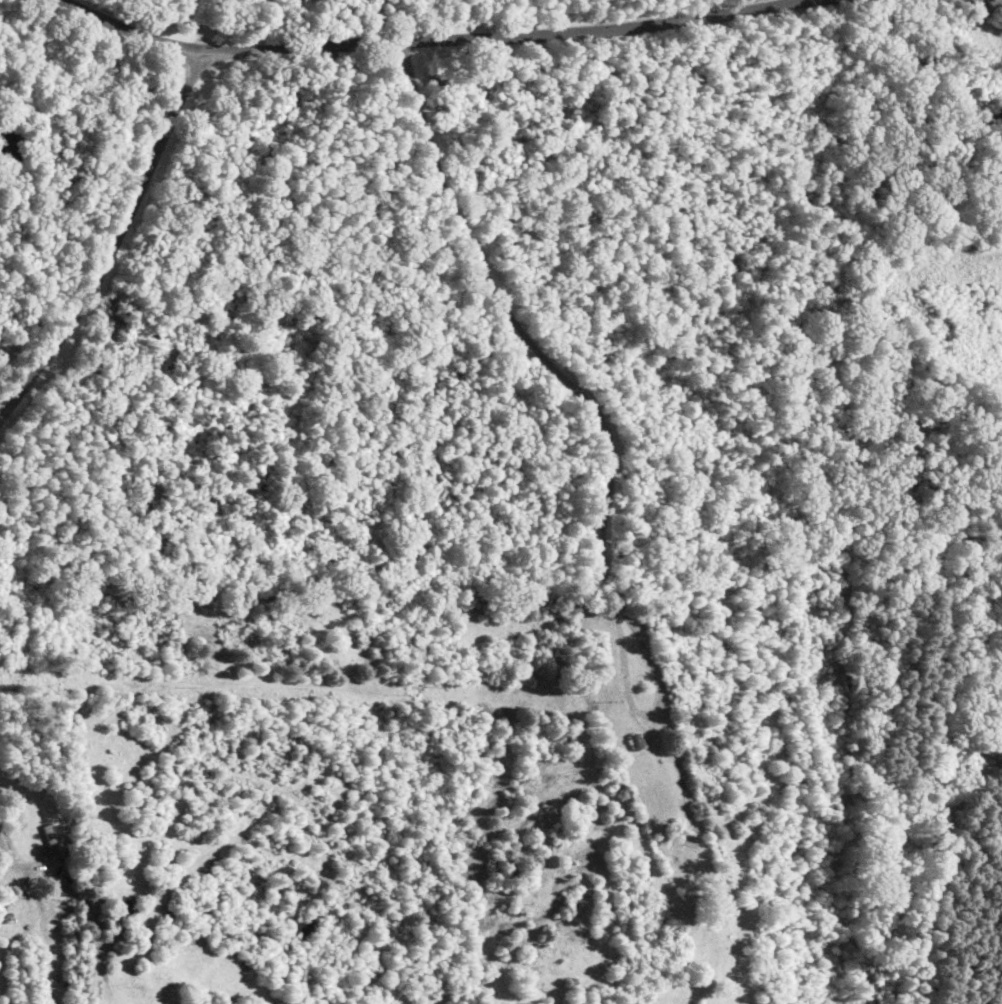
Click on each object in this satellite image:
road: (87, 183)
road: (562, 402)
building: (633, 745)
building: (49, 844)

